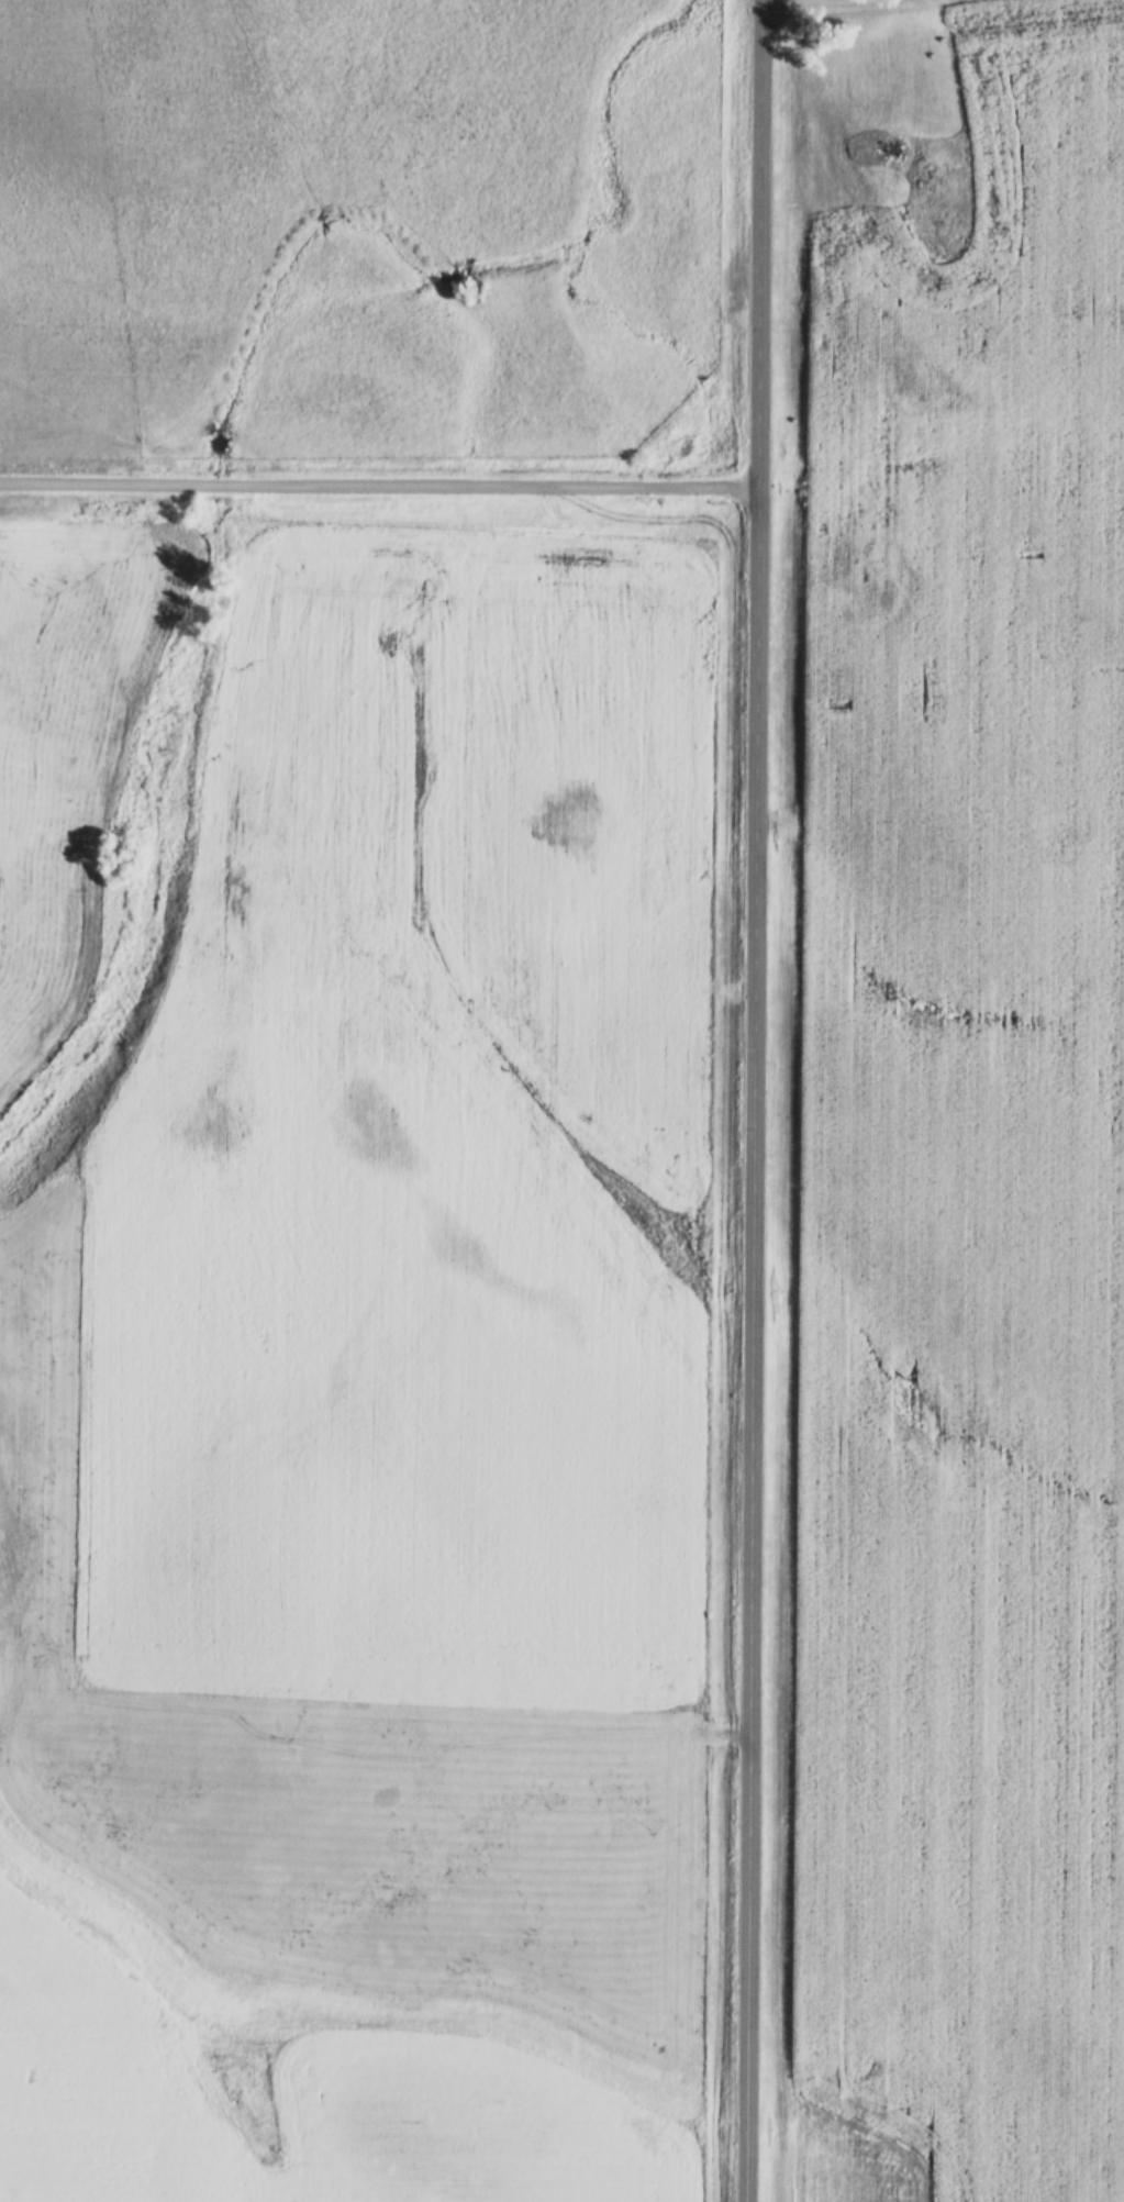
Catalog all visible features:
road: (779, 0)
road: (383, 482)
road: (763, 1101)

